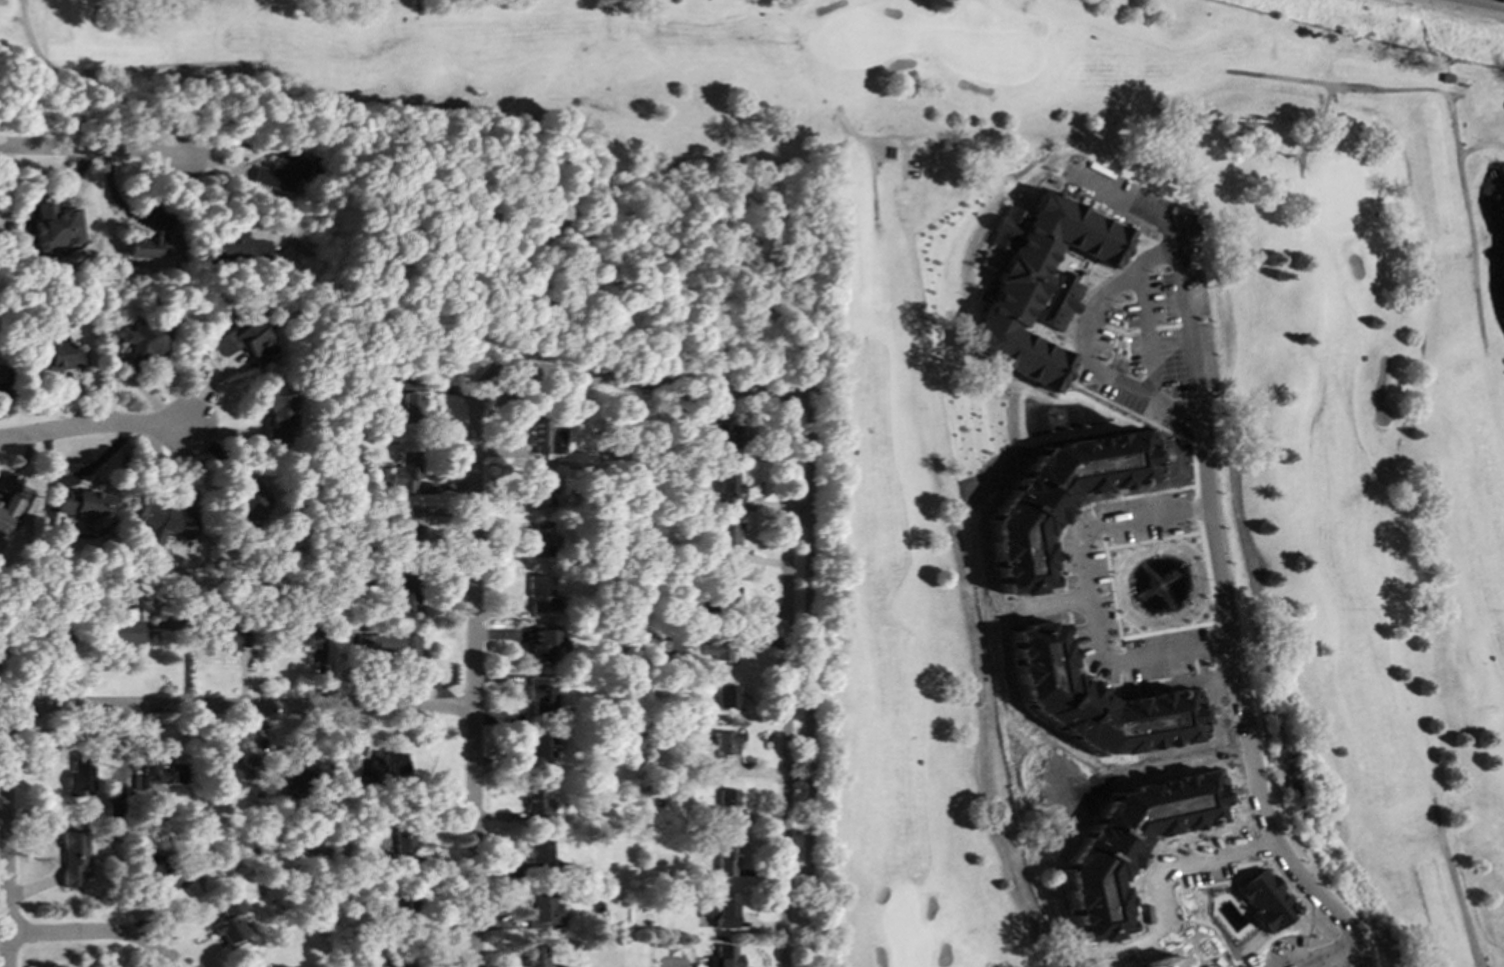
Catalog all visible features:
road: (1480, 5)
road: (100, 11)
road: (20, 19)
road: (117, 69)
road: (1451, 112)
road: (1310, 130)
road: (899, 144)
road: (1479, 144)
road: (92, 148)
road: (872, 159)
building: (278, 173)
building: (54, 223)
park: (584, 242)
building: (149, 245)
road: (1174, 264)
building: (1037, 284)
road: (1148, 333)
building: (140, 340)
building: (240, 340)
road: (1076, 347)
building: (55, 356)
building: (4, 379)
road: (633, 381)
building: (409, 408)
building: (276, 416)
road: (94, 425)
building: (721, 435)
building: (543, 437)
building: (538, 486)
building: (727, 489)
building: (1060, 498)
building: (81, 504)
road: (798, 508)
building: (8, 509)
building: (165, 520)
building: (406, 524)
building: (539, 538)
building: (725, 539)
building: (725, 587)
building: (404, 593)
building: (540, 594)
road: (1088, 597)
road: (1057, 602)
park: (1381, 619)
building: (120, 629)
building: (305, 635)
building: (230, 639)
building: (539, 643)
building: (386, 645)
building: (717, 650)
road: (809, 673)
road: (474, 676)
road: (786, 681)
building: (539, 695)
building: (727, 695)
building: (1096, 701)
road: (240, 706)
road: (1241, 708)
building: (723, 743)
building: (541, 753)
building: (382, 767)
building: (234, 769)
building: (80, 775)
building: (160, 776)
building: (536, 801)
building: (726, 804)
building: (405, 842)
building: (1131, 843)
road: (6, 847)
building: (538, 851)
building: (725, 857)
building: (154, 863)
road: (1166, 869)
road: (1454, 881)
building: (1266, 900)
building: (544, 910)
building: (723, 910)
building: (229, 918)
road: (94, 933)
road: (1125, 946)
building: (537, 955)
building: (726, 956)
road: (1330, 956)
building: (402, 962)
building: (1163, 962)
road: (989, 964)

